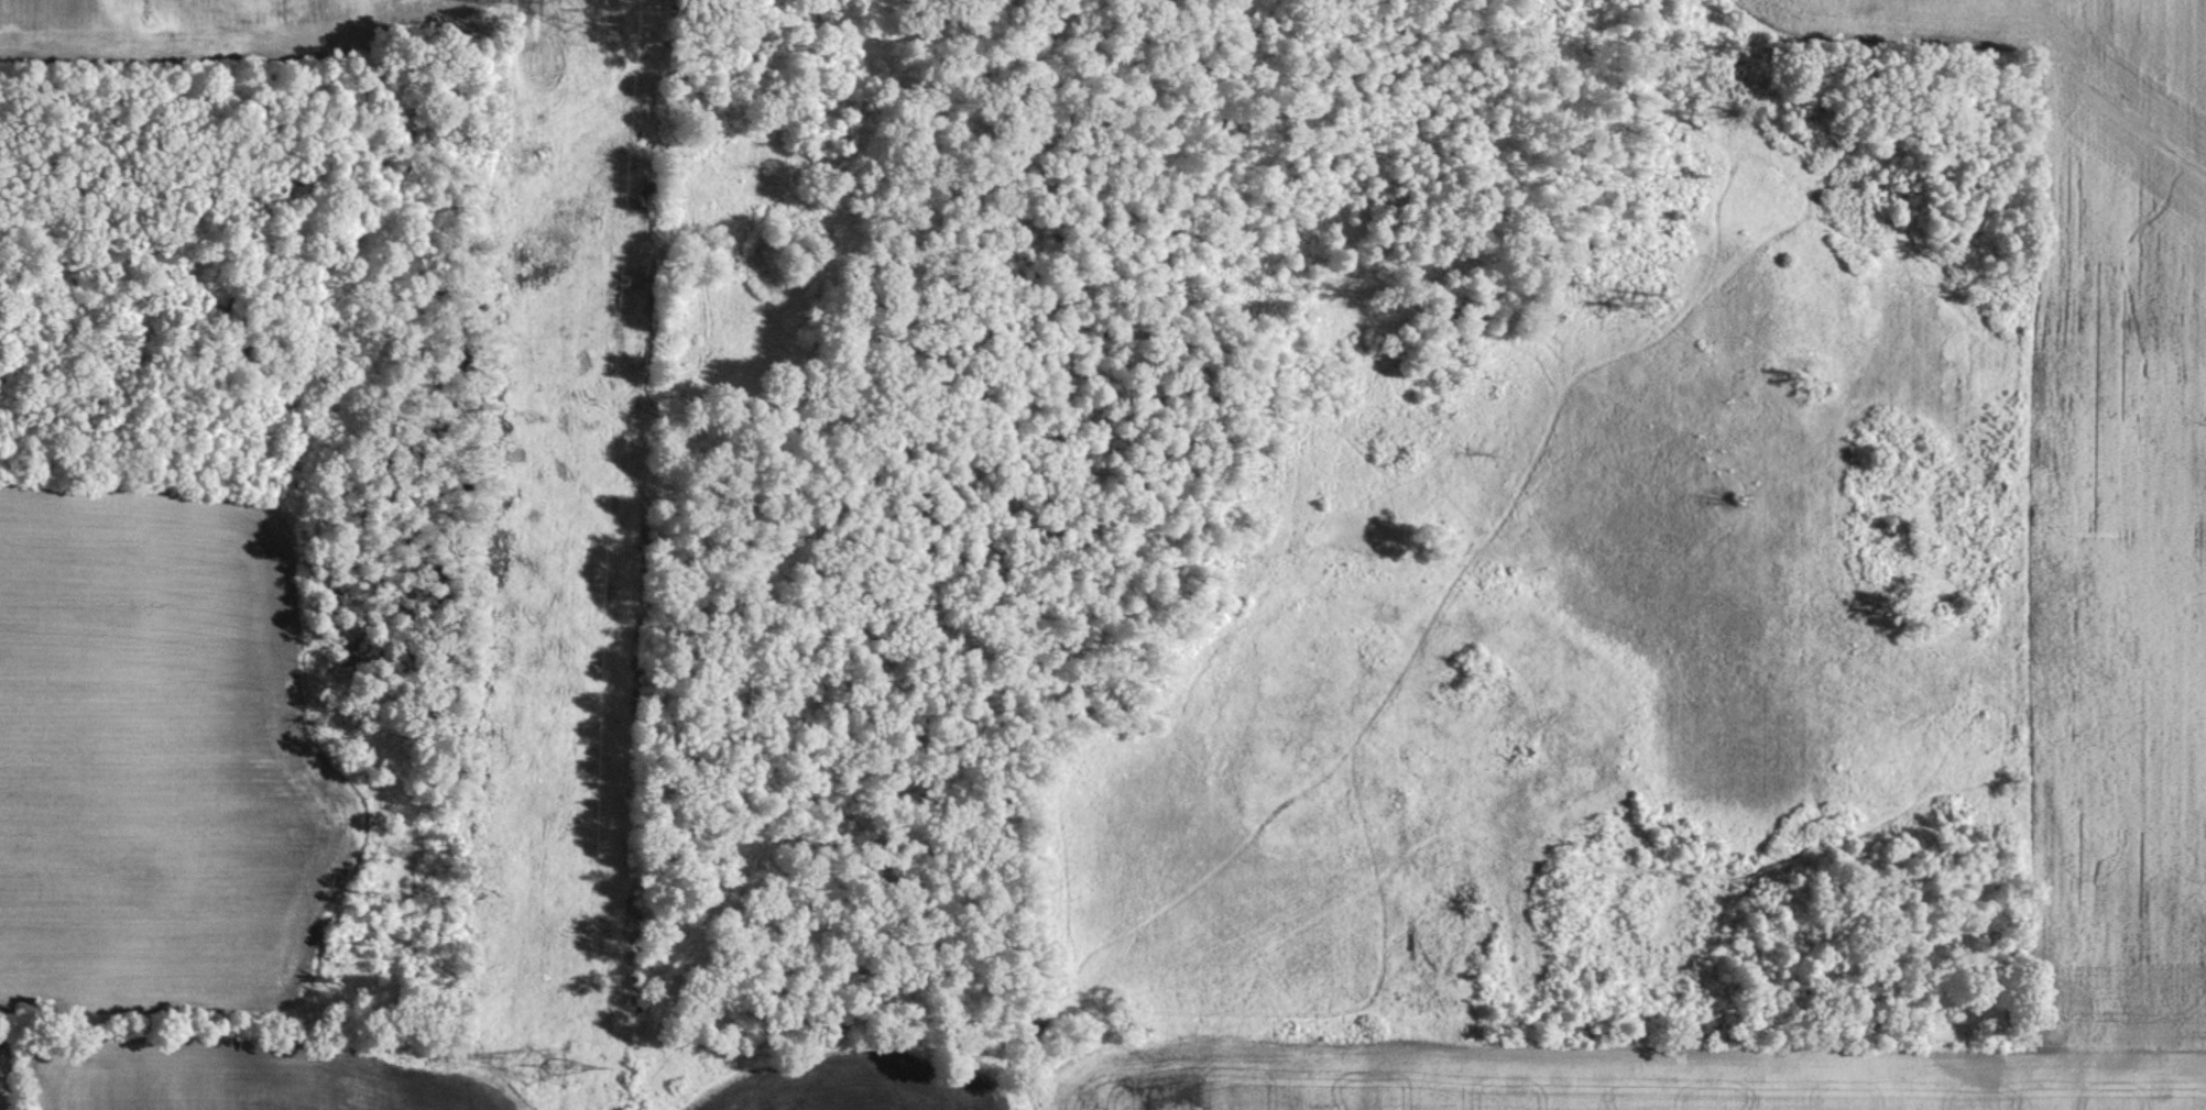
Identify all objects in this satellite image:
power tower: (583, 3)
power tower: (550, 1064)

